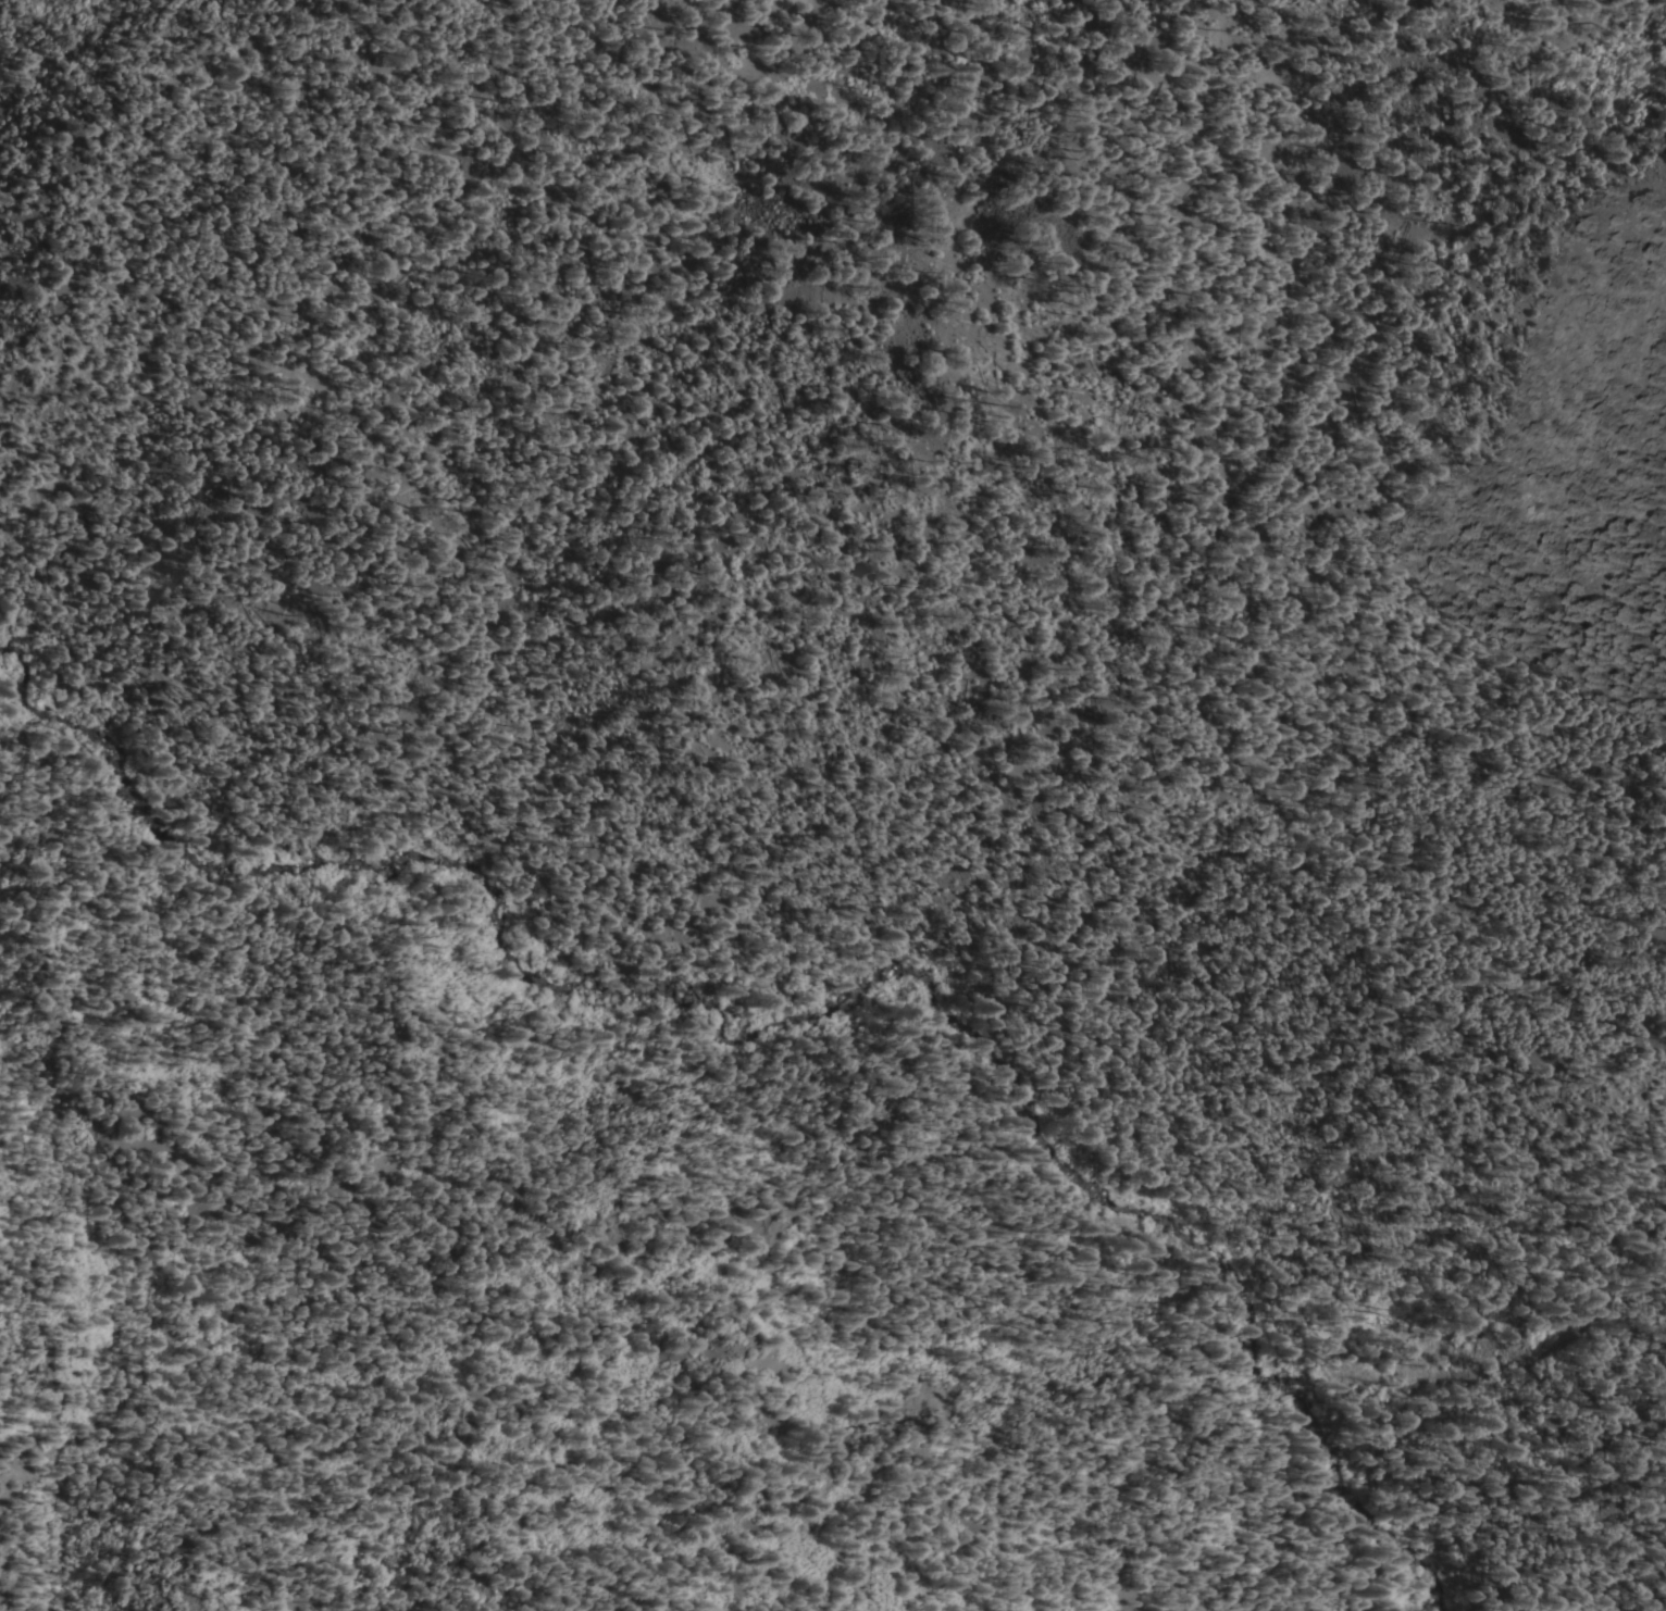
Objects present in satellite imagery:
road: (1562, 141)
road: (1267, 284)
road: (536, 433)
road: (900, 967)

